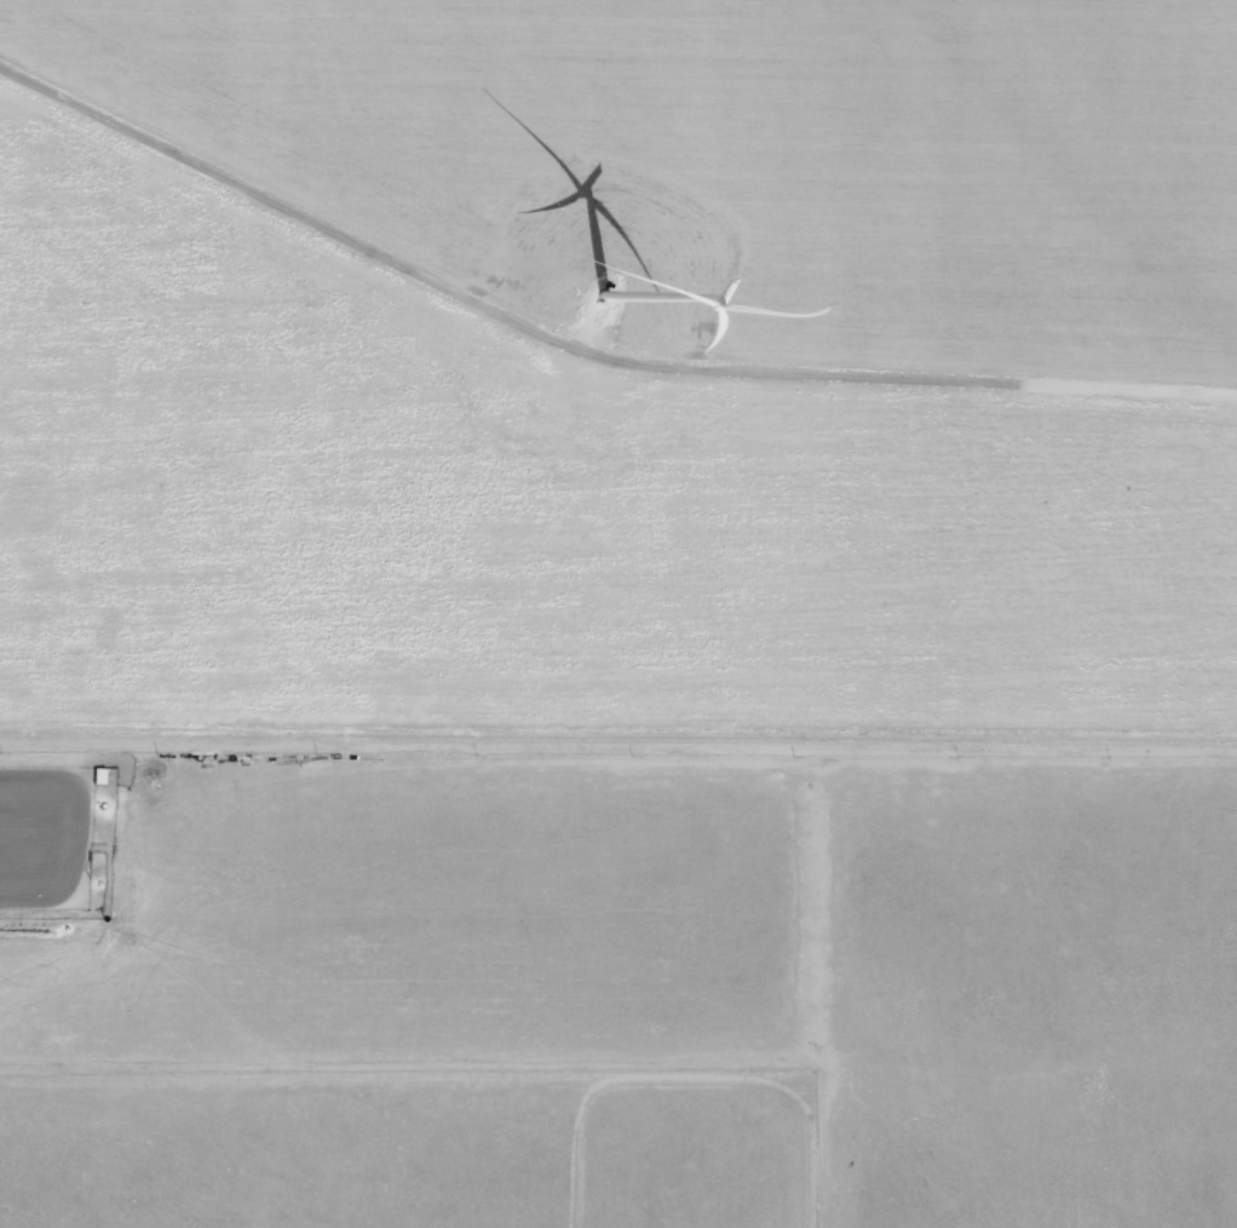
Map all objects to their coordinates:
wind turbine: (605, 299)

